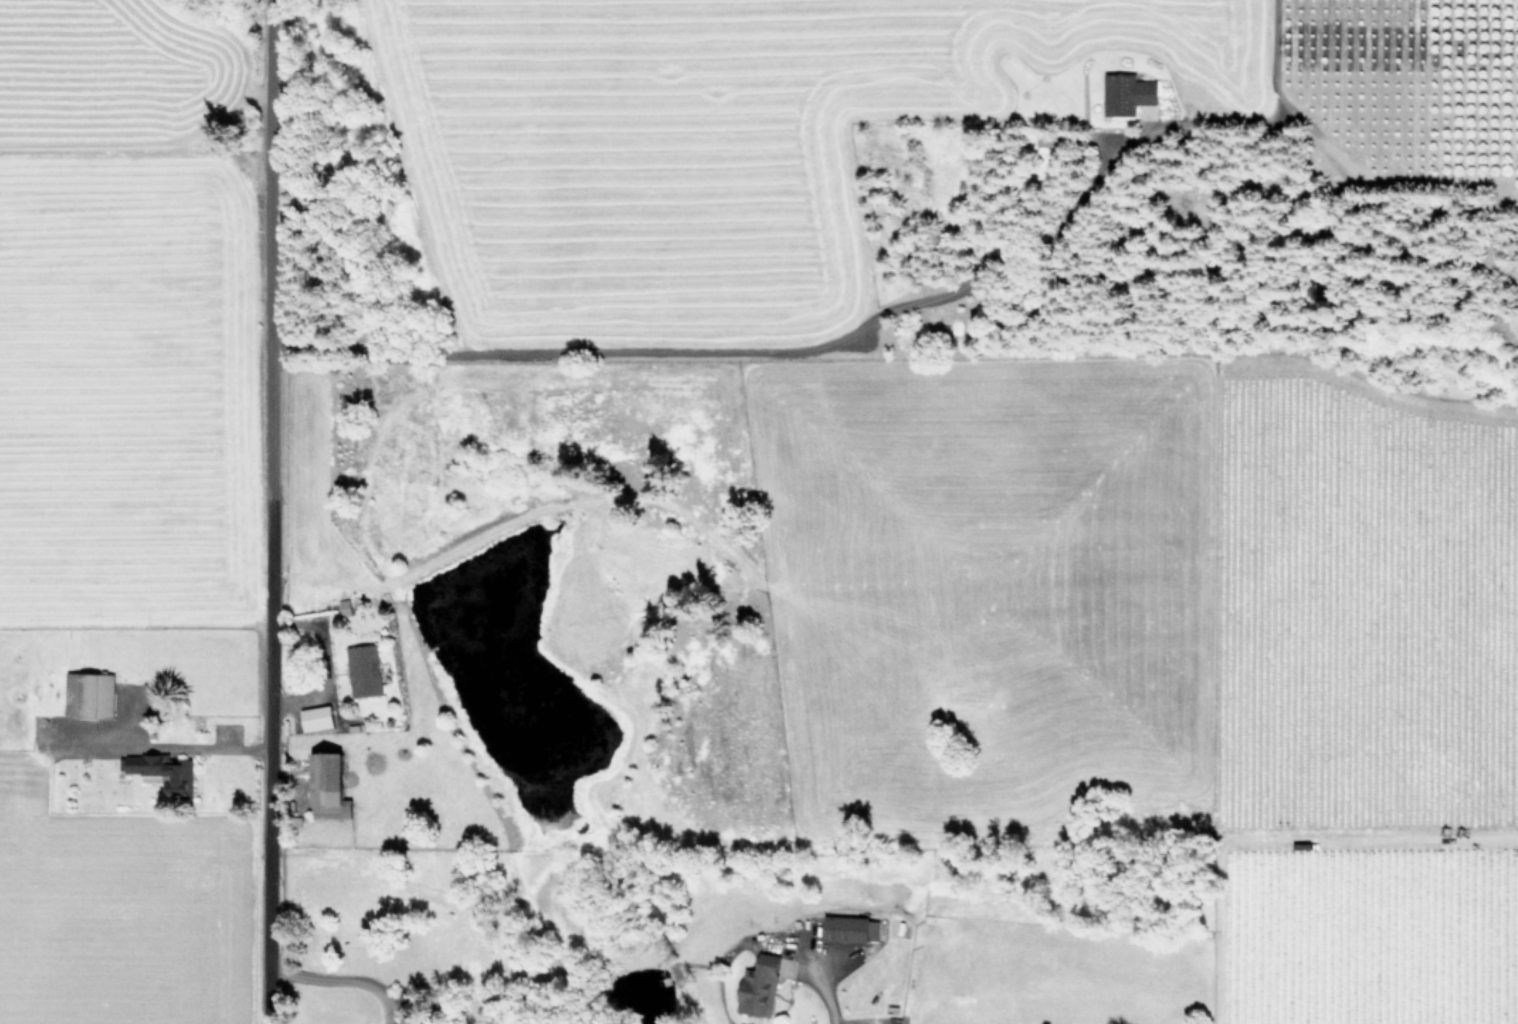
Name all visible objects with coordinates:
building: (1130, 93)
road: (752, 347)
crop: (122, 509)
road: (267, 512)
crop: (983, 517)
building: (366, 670)
building: (91, 693)
building: (319, 717)
road: (213, 746)
building: (163, 770)
building: (333, 785)
building: (854, 928)
road: (340, 984)
building: (762, 986)
road: (823, 994)

